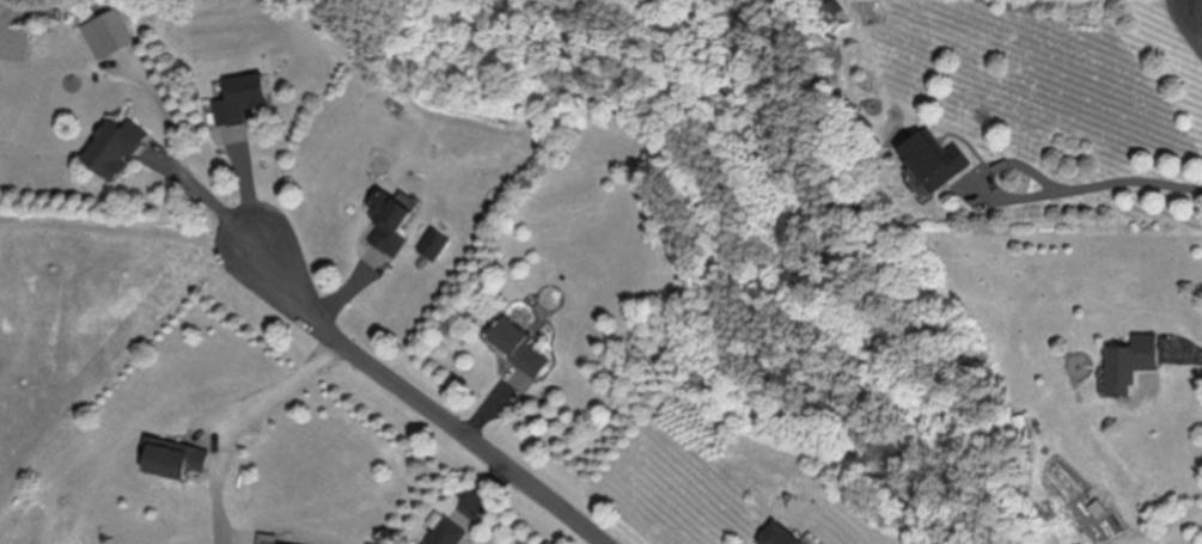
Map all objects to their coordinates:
building: (116, 32)
building: (243, 100)
building: (118, 154)
building: (936, 161)
road: (984, 176)
road: (1130, 178)
road: (249, 200)
road: (219, 206)
building: (523, 344)
building: (1135, 366)
road: (283, 387)
road: (439, 404)
building: (179, 459)
building: (1099, 509)
building: (449, 532)
building: (781, 536)

